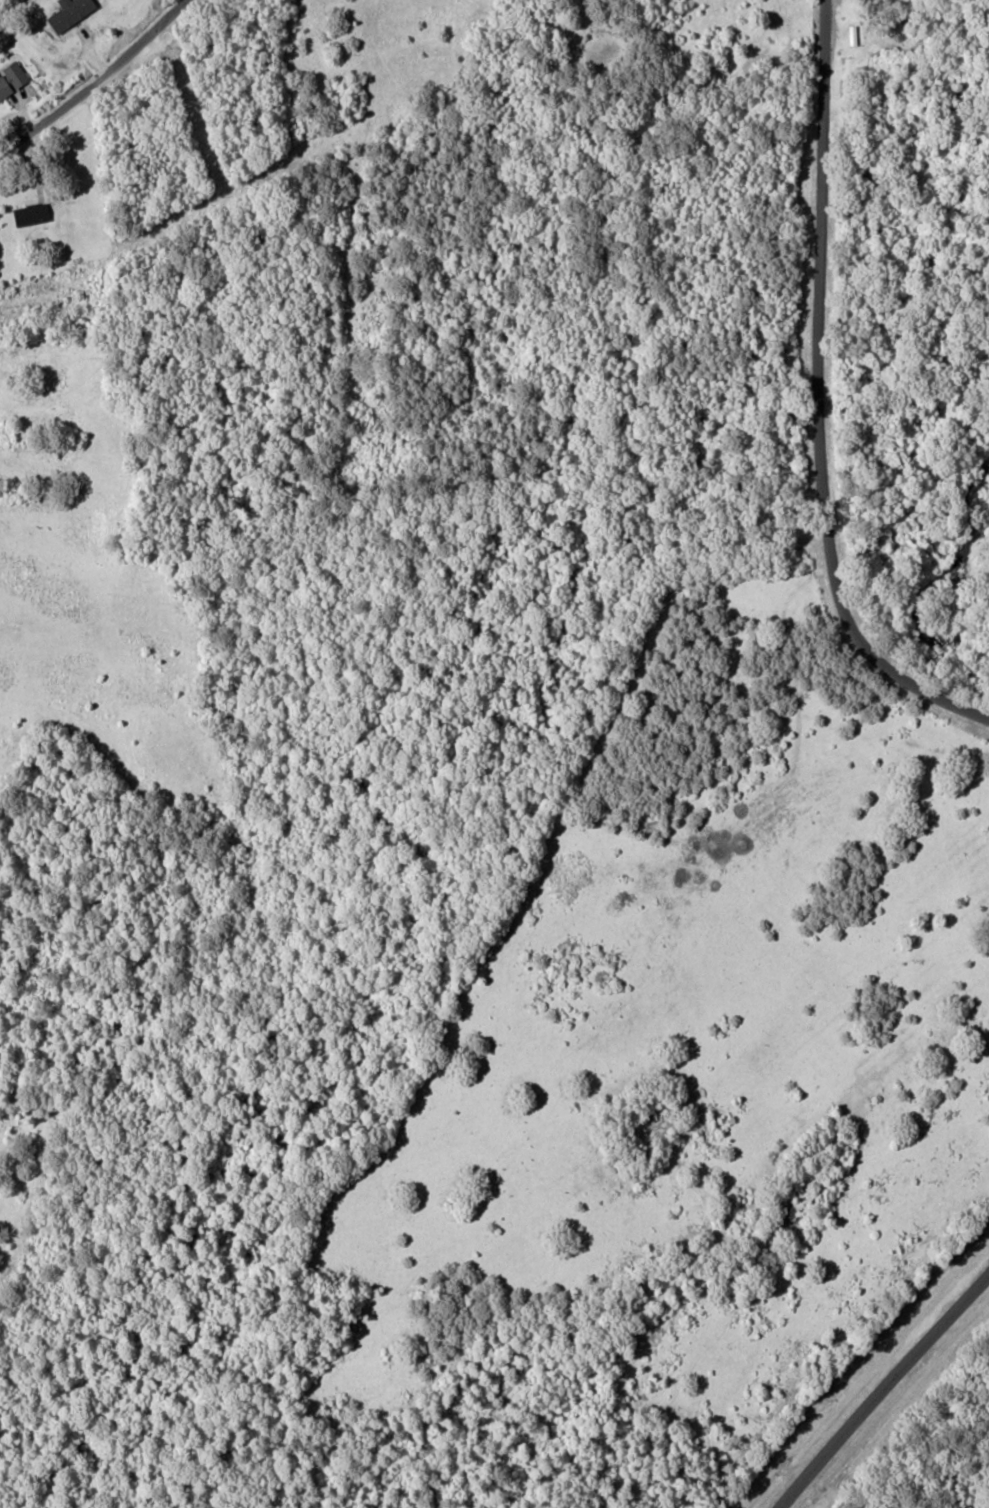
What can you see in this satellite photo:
building: (66, 13)
building: (10, 77)
road: (94, 79)
building: (27, 213)
road: (819, 401)
road: (882, 1390)

